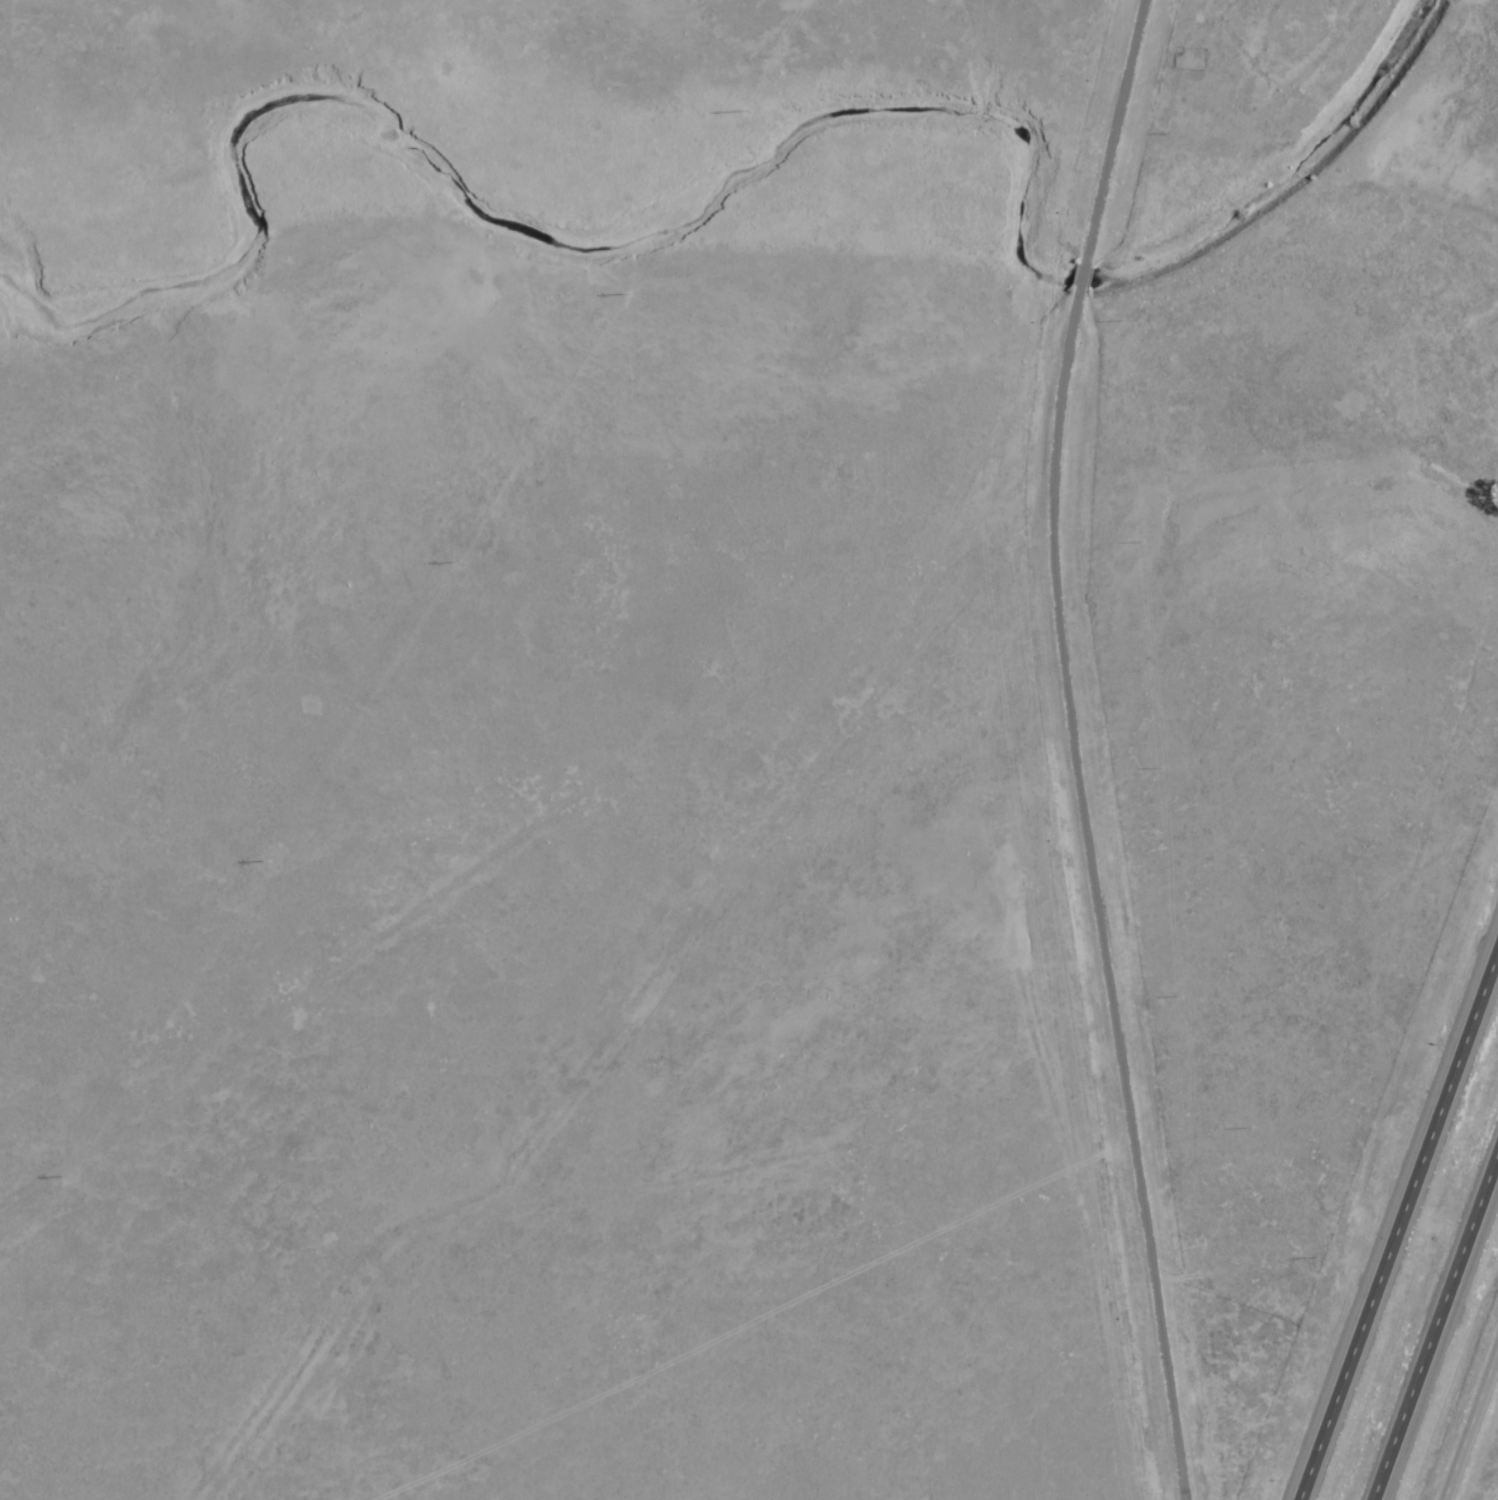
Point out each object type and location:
road: (1111, 132)
road: (1081, 279)
road: (1091, 897)
road: (1396, 1219)
road: (1440, 1331)
road: (1468, 1418)

